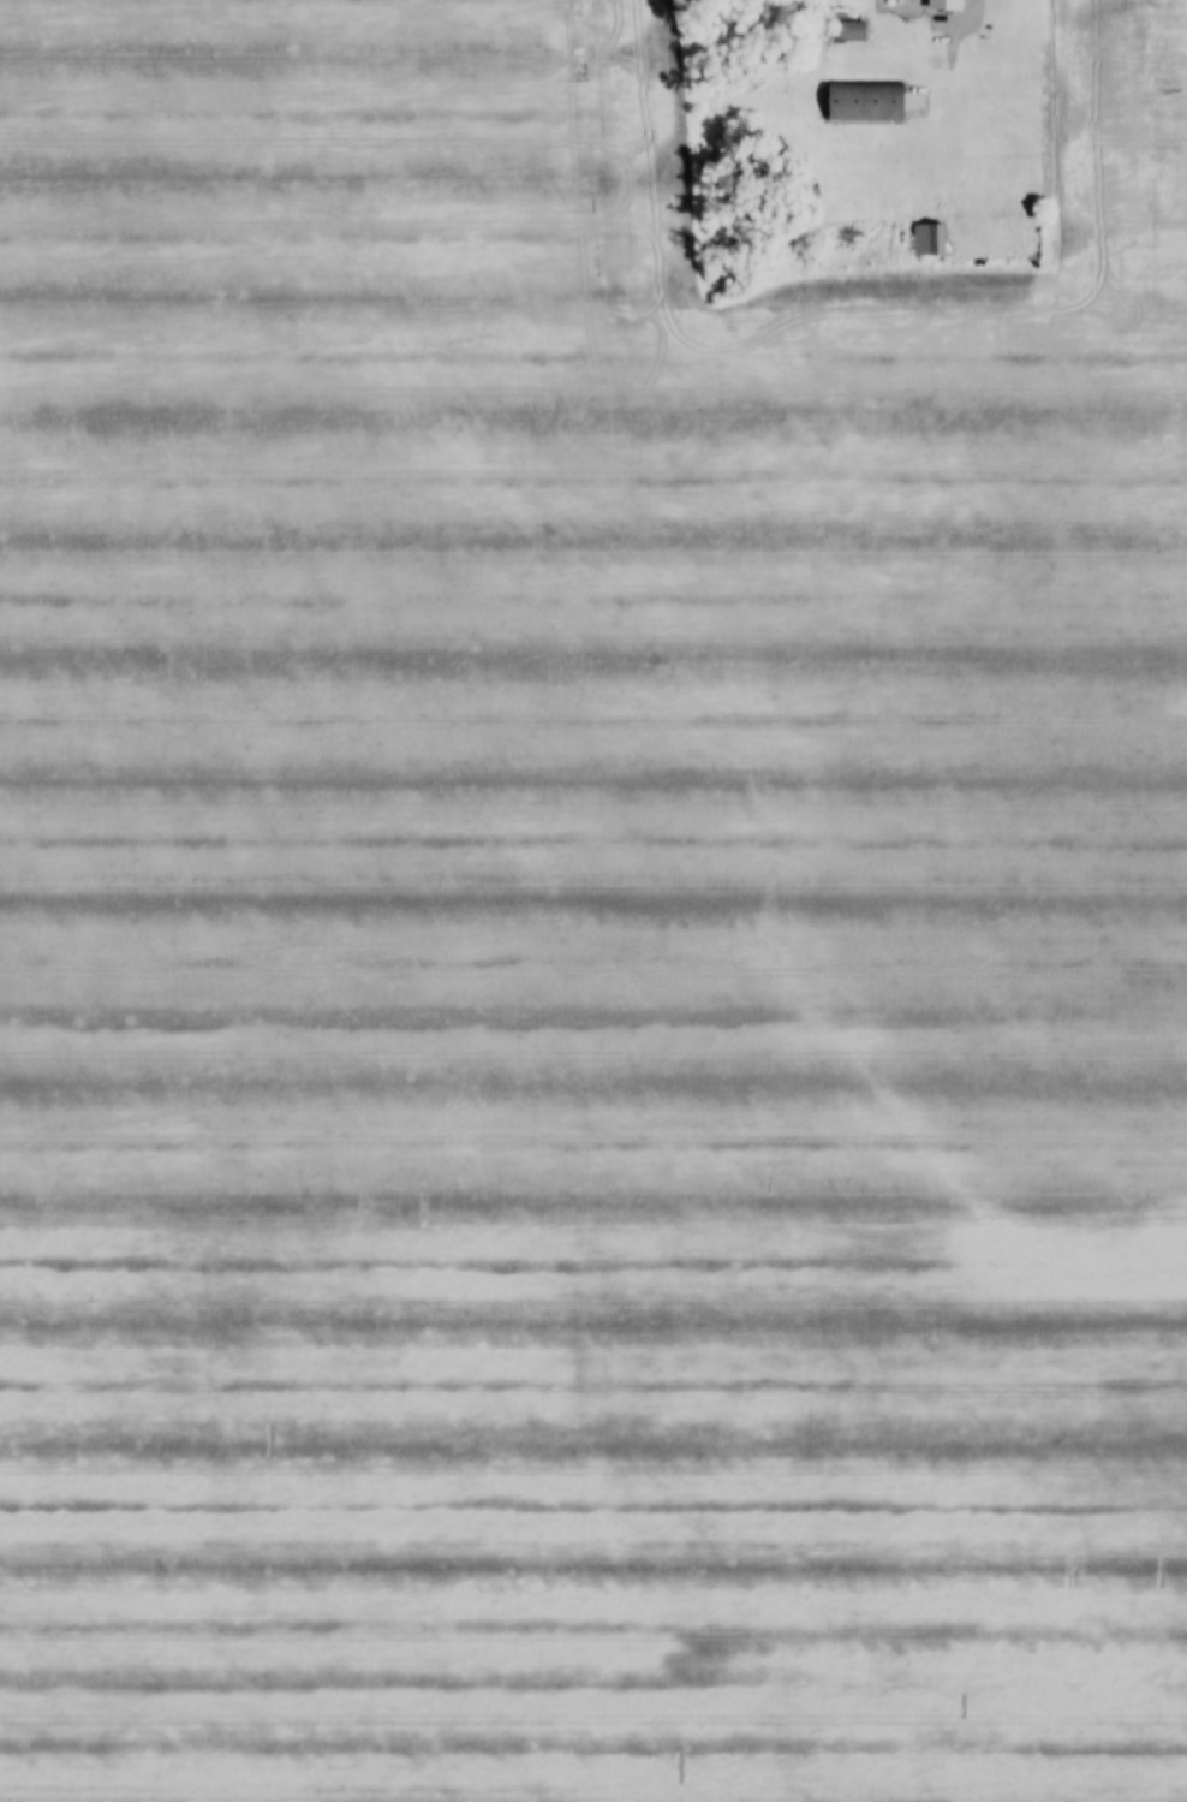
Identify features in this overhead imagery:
building: (894, 4)
road: (962, 4)
building: (847, 28)
building: (863, 101)
building: (926, 238)

